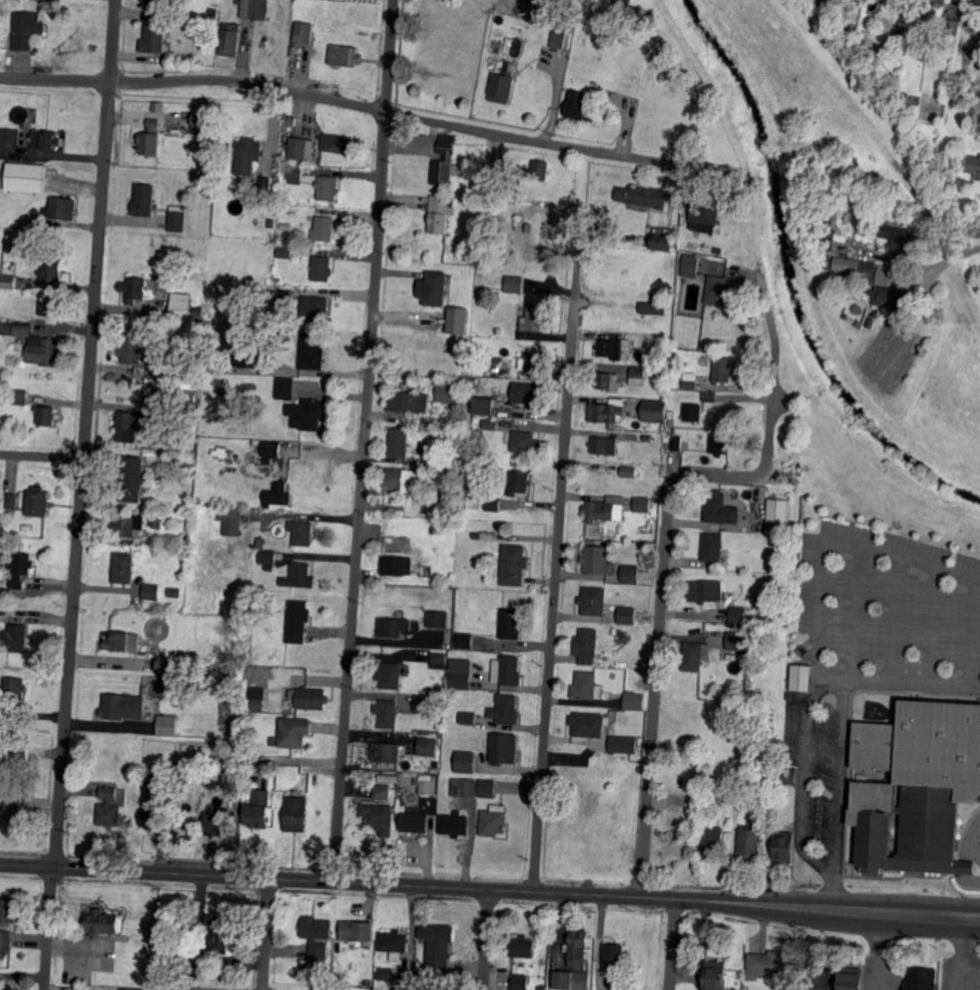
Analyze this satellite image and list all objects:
building: (893, 0)
building: (162, 1)
building: (940, 1)
building: (11, 2)
building: (978, 2)
building: (617, 4)
building: (254, 8)
building: (909, 14)
building: (922, 18)
building: (949, 26)
building: (24, 29)
building: (304, 30)
building: (897, 32)
building: (563, 33)
building: (154, 39)
building: (230, 40)
building: (946, 51)
building: (345, 55)
road: (55, 79)
building: (502, 86)
building: (904, 97)
building: (580, 107)
building: (291, 120)
road: (422, 120)
building: (203, 122)
building: (153, 124)
building: (10, 136)
building: (46, 140)
building: (149, 143)
building: (337, 143)
building: (298, 149)
road: (53, 153)
building: (247, 154)
building: (446, 160)
building: (974, 165)
building: (488, 166)
building: (539, 170)
building: (295, 174)
building: (26, 176)
building: (264, 183)
building: (327, 188)
building: (644, 196)
building: (144, 199)
building: (61, 207)
building: (439, 214)
building: (706, 215)
building: (176, 218)
building: (524, 220)
building: (285, 226)
building: (827, 226)
building: (517, 227)
road: (973, 227)
building: (324, 229)
building: (863, 229)
building: (640, 231)
building: (899, 236)
building: (292, 241)
building: (664, 242)
building: (684, 245)
building: (465, 249)
building: (285, 252)
road: (950, 256)
building: (689, 265)
building: (321, 268)
building: (52, 269)
building: (856, 269)
building: (882, 274)
building: (9, 281)
building: (515, 284)
building: (664, 287)
building: (435, 288)
building: (134, 289)
building: (720, 290)
building: (286, 298)
building: (480, 298)
building: (891, 298)
building: (180, 306)
building: (652, 307)
building: (314, 308)
building: (198, 312)
building: (535, 319)
building: (457, 321)
building: (499, 330)
building: (35, 344)
building: (131, 349)
building: (616, 349)
building: (311, 352)
building: (245, 354)
building: (531, 361)
building: (162, 367)
building: (501, 369)
building: (510, 370)
building: (724, 370)
building: (638, 376)
building: (608, 381)
building: (692, 381)
building: (249, 388)
building: (285, 388)
building: (222, 391)
building: (448, 392)
building: (527, 392)
building: (711, 396)
building: (18, 398)
building: (403, 401)
building: (160, 404)
building: (484, 404)
building: (608, 411)
building: (655, 411)
building: (693, 412)
building: (187, 413)
building: (307, 414)
building: (46, 415)
building: (470, 419)
building: (459, 420)
building: (129, 424)
building: (490, 424)
road: (86, 433)
building: (452, 436)
building: (648, 437)
road: (365, 440)
building: (524, 441)
building: (677, 441)
building: (398, 442)
building: (721, 444)
building: (605, 445)
building: (270, 449)
road: (42, 456)
building: (432, 459)
building: (266, 461)
building: (172, 466)
building: (630, 471)
building: (132, 479)
building: (402, 479)
building: (520, 484)
building: (278, 495)
building: (436, 496)
building: (473, 500)
building: (12, 501)
building: (37, 502)
building: (493, 504)
building: (642, 505)
building: (721, 509)
building: (443, 510)
building: (604, 510)
building: (778, 513)
building: (157, 520)
building: (232, 522)
building: (417, 522)
building: (129, 526)
building: (301, 532)
building: (490, 536)
building: (184, 537)
road: (825, 537)
building: (876, 538)
building: (261, 543)
road: (669, 544)
building: (713, 547)
building: (270, 556)
building: (598, 561)
road: (556, 562)
building: (514, 564)
building: (397, 565)
building: (124, 567)
building: (21, 568)
building: (781, 568)
building: (268, 569)
building: (631, 574)
building: (299, 575)
building: (152, 591)
building: (705, 591)
building: (175, 592)
building: (594, 602)
building: (738, 614)
building: (627, 616)
building: (438, 620)
building: (297, 621)
building: (512, 624)
building: (393, 627)
building: (616, 631)
building: (14, 638)
building: (448, 639)
building: (736, 639)
building: (471, 640)
building: (117, 641)
building: (587, 646)
building: (693, 657)
building: (439, 660)
building: (166, 664)
building: (176, 668)
building: (507, 670)
building: (230, 674)
building: (459, 674)
building: (389, 675)
building: (613, 675)
building: (801, 679)
road: (911, 679)
building: (176, 682)
building: (585, 686)
building: (14, 690)
building: (311, 699)
building: (634, 700)
building: (425, 704)
building: (258, 705)
building: (122, 706)
building: (506, 710)
building: (385, 714)
building: (626, 716)
building: (467, 718)
building: (165, 724)
building: (588, 724)
building: (438, 726)
building: (152, 730)
building: (294, 733)
building: (640, 741)
building: (623, 743)
building: (426, 747)
building: (504, 749)
building: (21, 751)
building: (386, 752)
building: (466, 762)
building: (697, 763)
building: (434, 764)
building: (584, 764)
road: (837, 769)
building: (134, 773)
building: (362, 774)
building: (767, 775)
building: (786, 776)
road: (803, 776)
building: (221, 781)
building: (433, 781)
building: (229, 784)
building: (151, 785)
building: (717, 786)
building: (916, 786)
building: (461, 788)
building: (487, 788)
building: (381, 791)
building: (979, 797)
building: (360, 801)
building: (108, 807)
building: (259, 811)
building: (16, 812)
building: (296, 814)
building: (151, 817)
building: (378, 818)
building: (494, 819)
building: (415, 821)
building: (215, 824)
building: (455, 824)
building: (674, 825)
road: (968, 836)
building: (714, 843)
building: (750, 844)
building: (784, 848)
road: (831, 887)
road: (490, 890)
building: (9, 910)
building: (100, 923)
road: (48, 928)
building: (358, 931)
road: (267, 934)
building: (219, 937)
building: (750, 937)
building: (5, 940)
road: (486, 940)
building: (313, 941)
building: (395, 943)
road: (673, 944)
road: (961, 945)
building: (522, 947)
building: (439, 949)
road: (875, 952)
building: (614, 956)
building: (17, 959)
building: (103, 963)
building: (574, 963)
building: (770, 965)
building: (199, 967)
building: (386, 974)
building: (716, 975)
building: (920, 978)
building: (848, 979)
building: (520, 982)
building: (368, 984)
building: (168, 986)
building: (128, 988)
building: (419, 988)
building: (2, 989)

